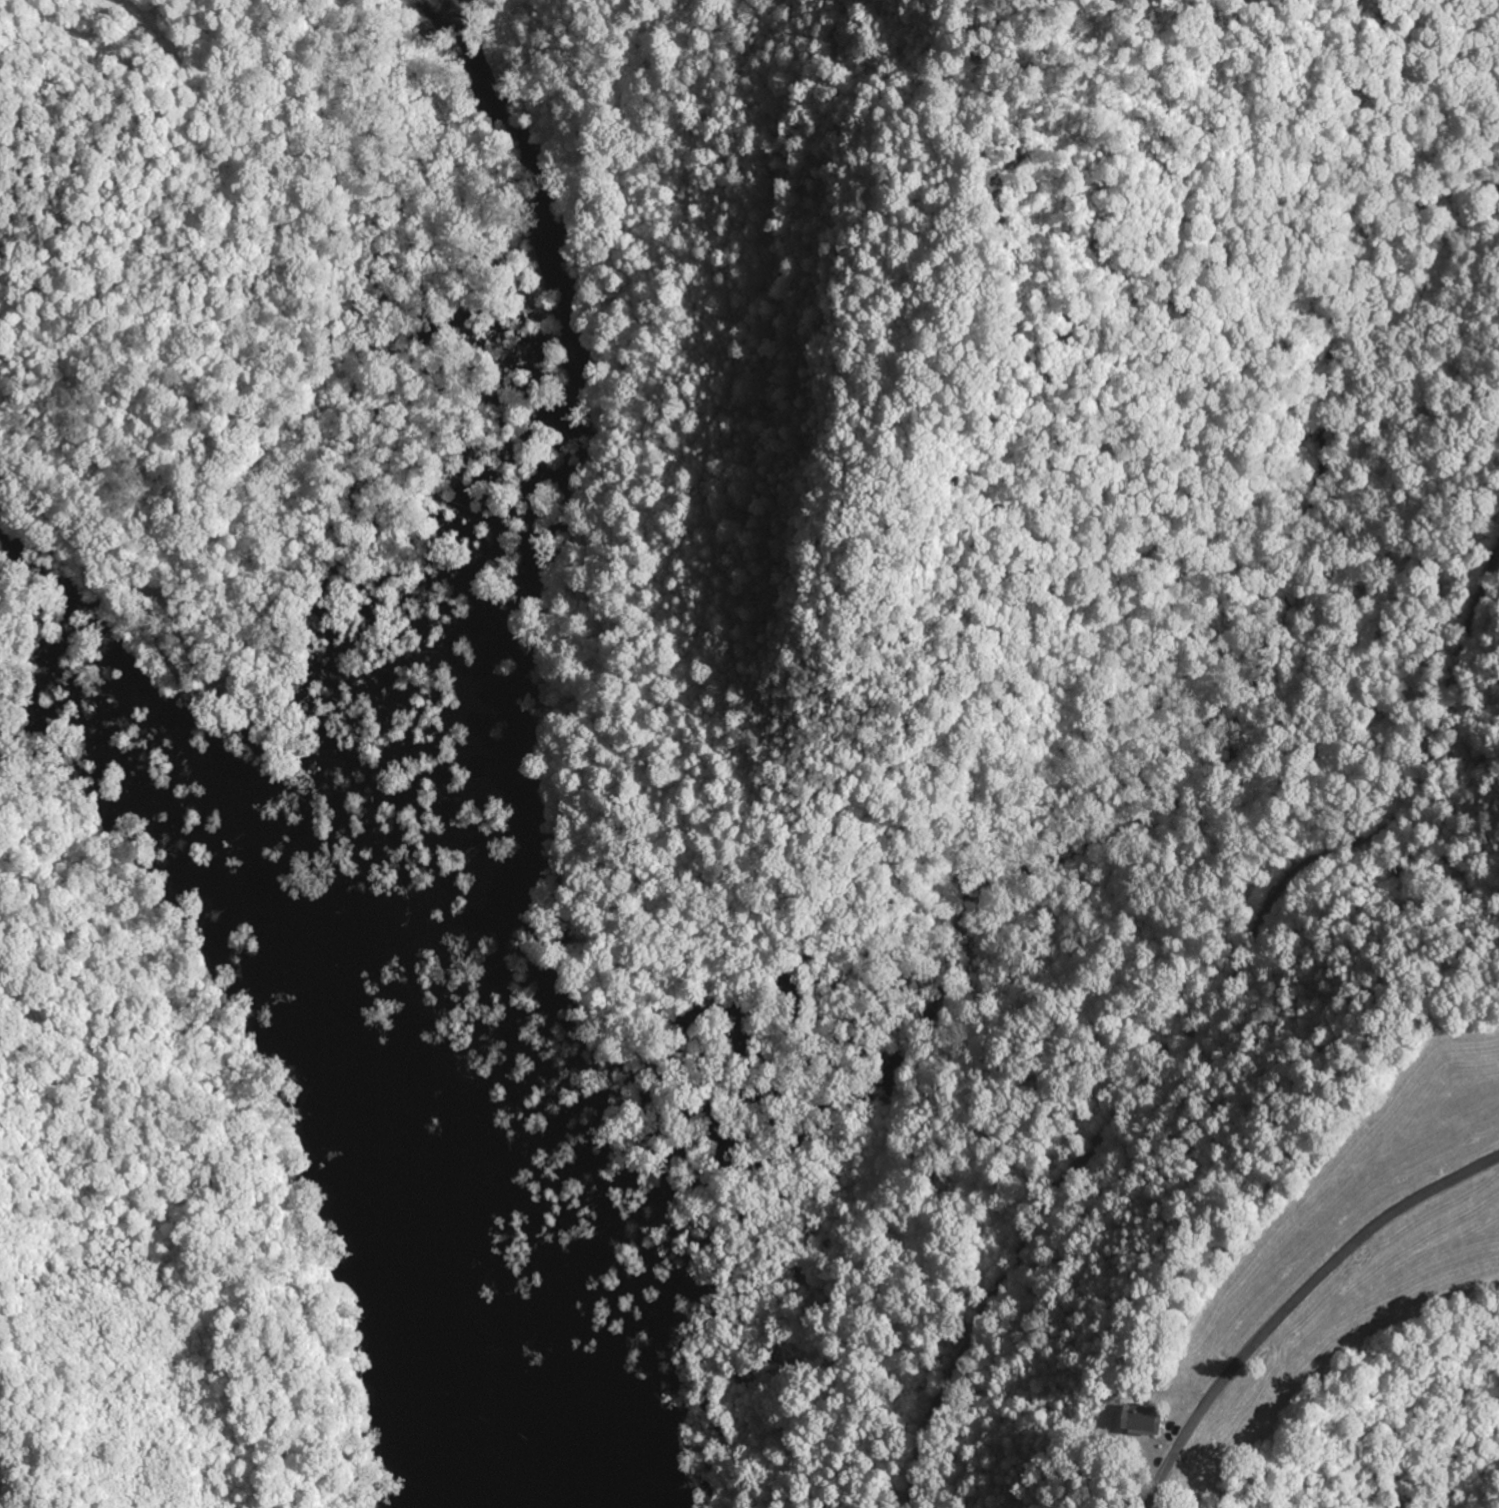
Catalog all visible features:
road: (95, 515)
road: (202, 695)
road: (1201, 1015)
road: (1299, 1303)
building: (1132, 1420)

